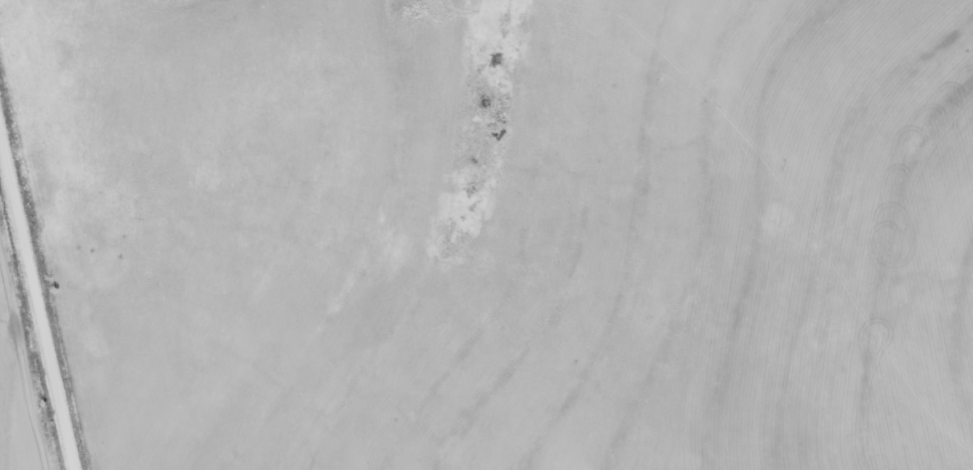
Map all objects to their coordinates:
road: (35, 300)

